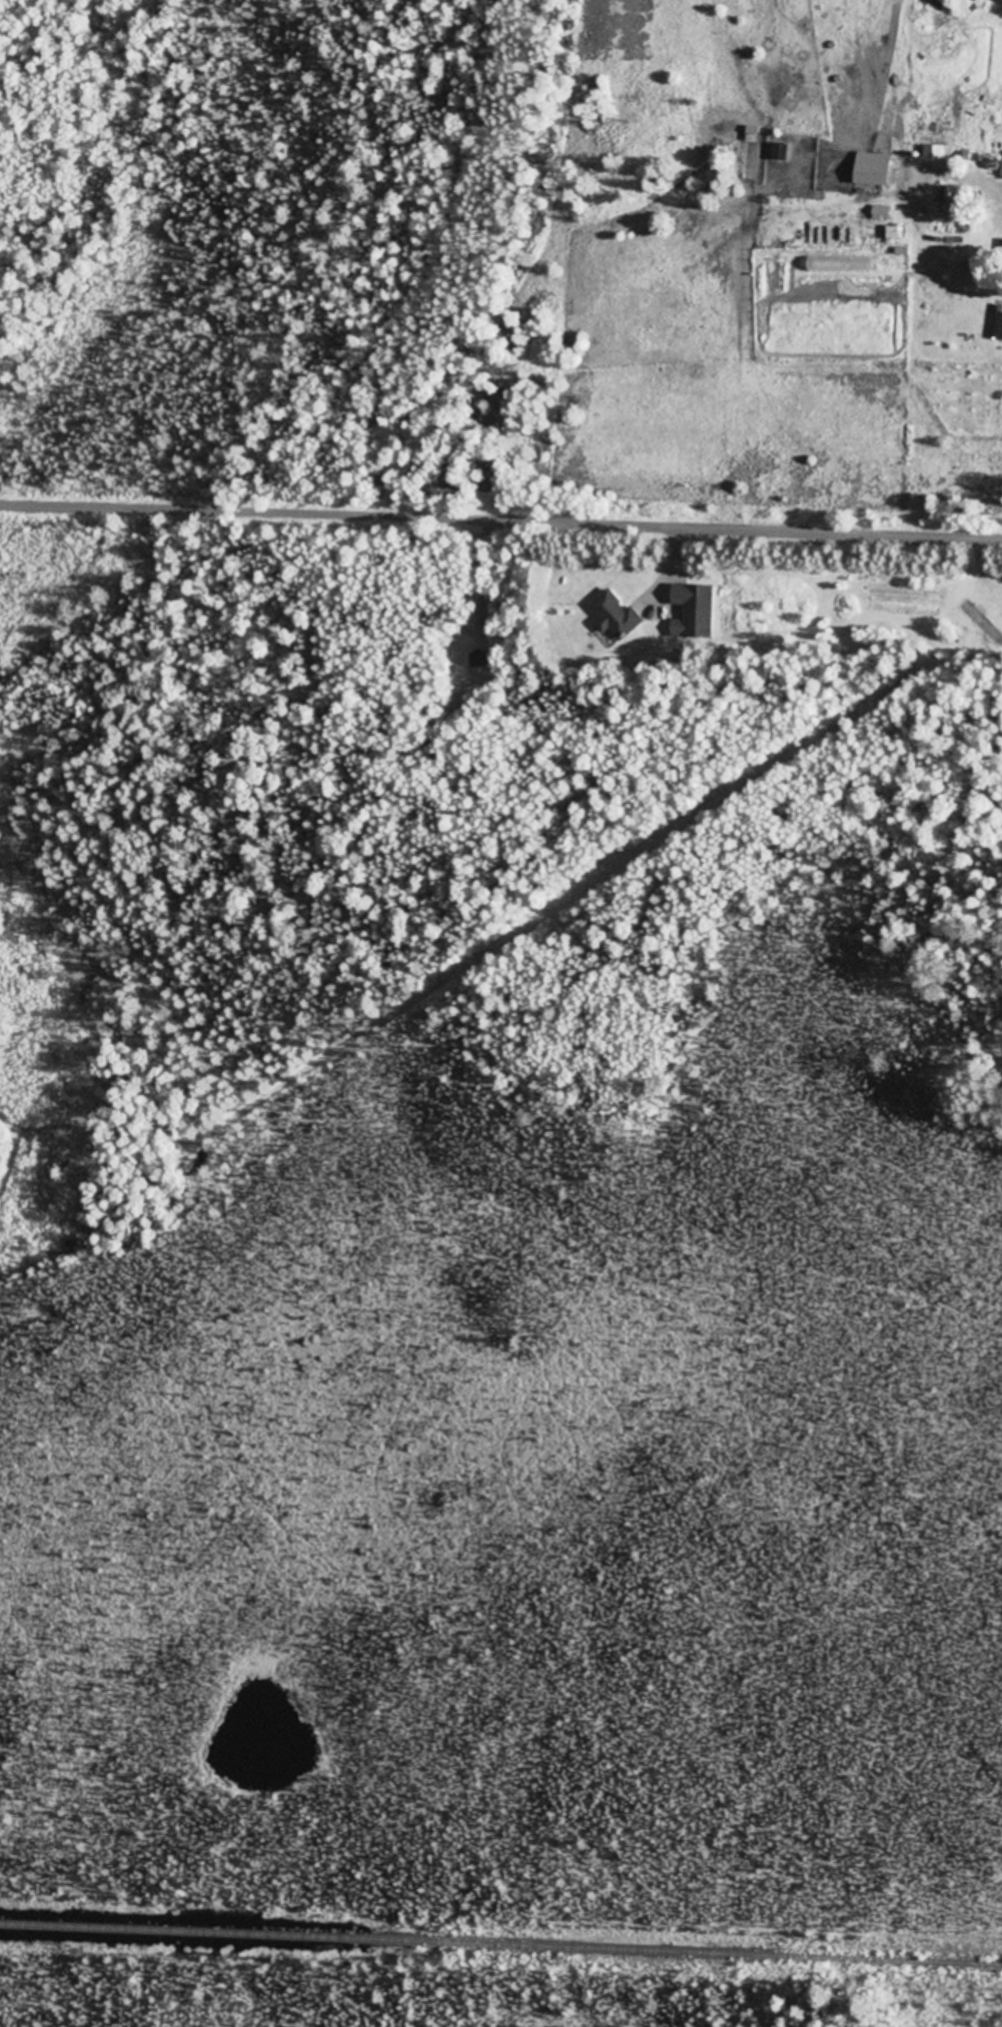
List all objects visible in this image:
building: (953, 196)
building: (1001, 235)
building: (999, 327)
building: (998, 469)
road: (501, 525)
building: (695, 614)
building: (617, 616)
building: (982, 623)
building: (484, 660)
railway: (501, 1946)

